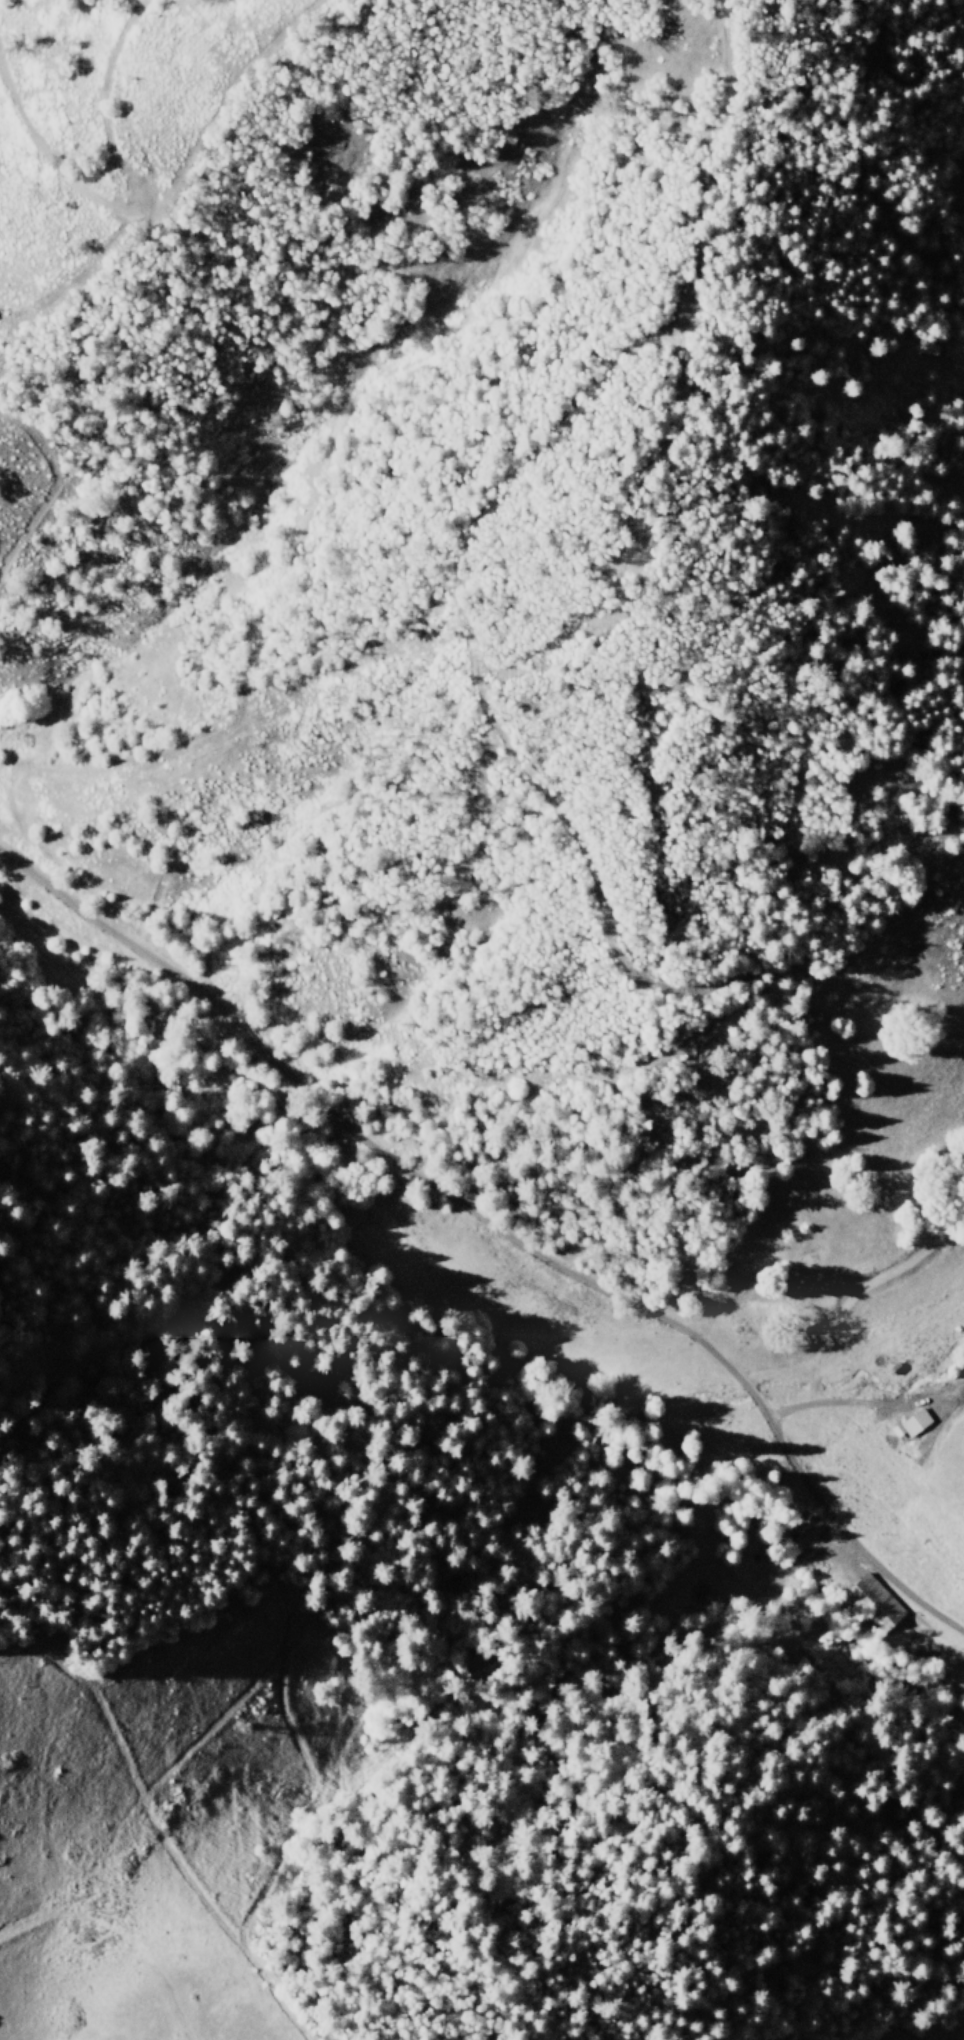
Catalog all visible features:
road: (497, 1236)

